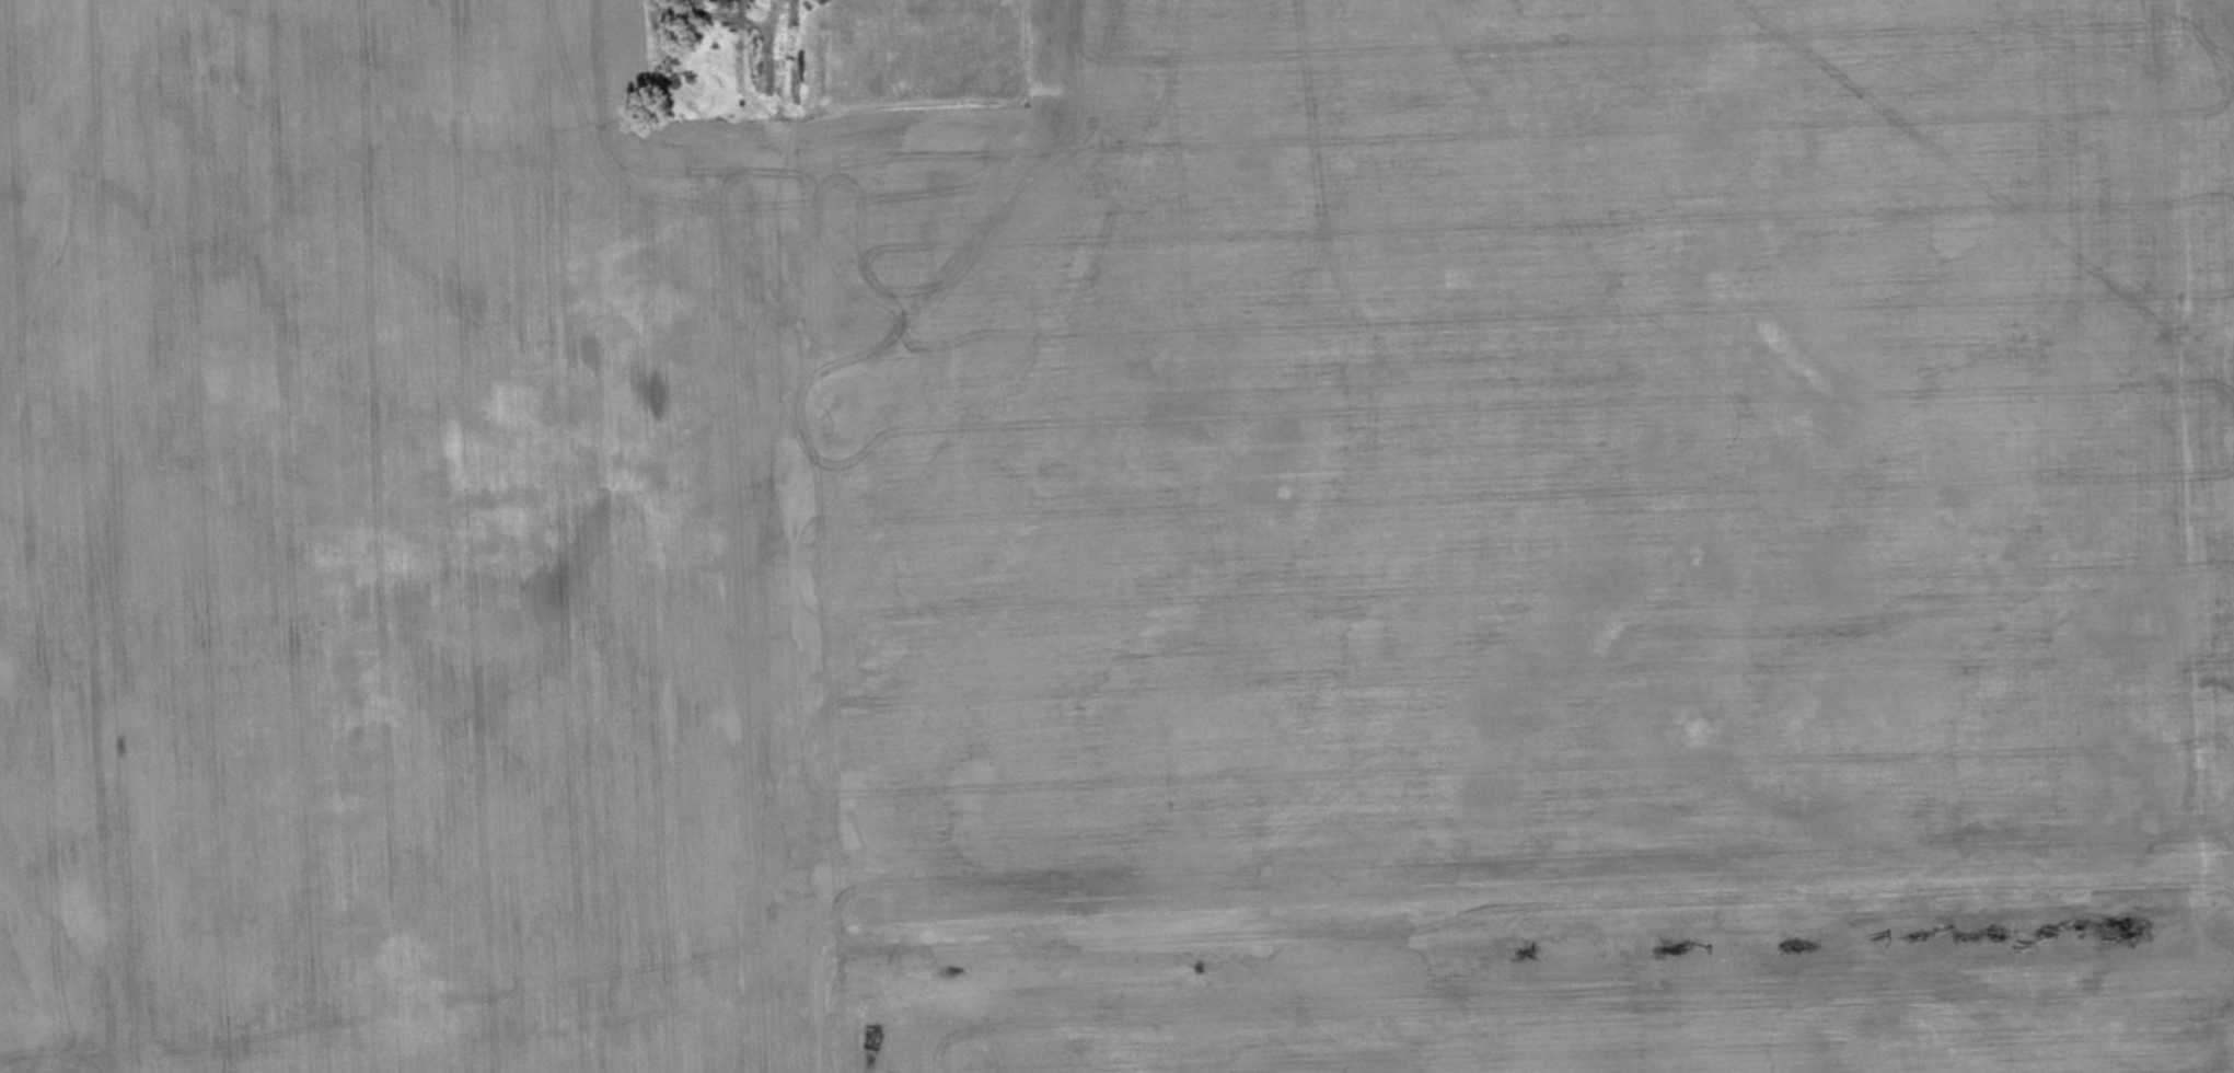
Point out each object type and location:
road: (1513, 947)

